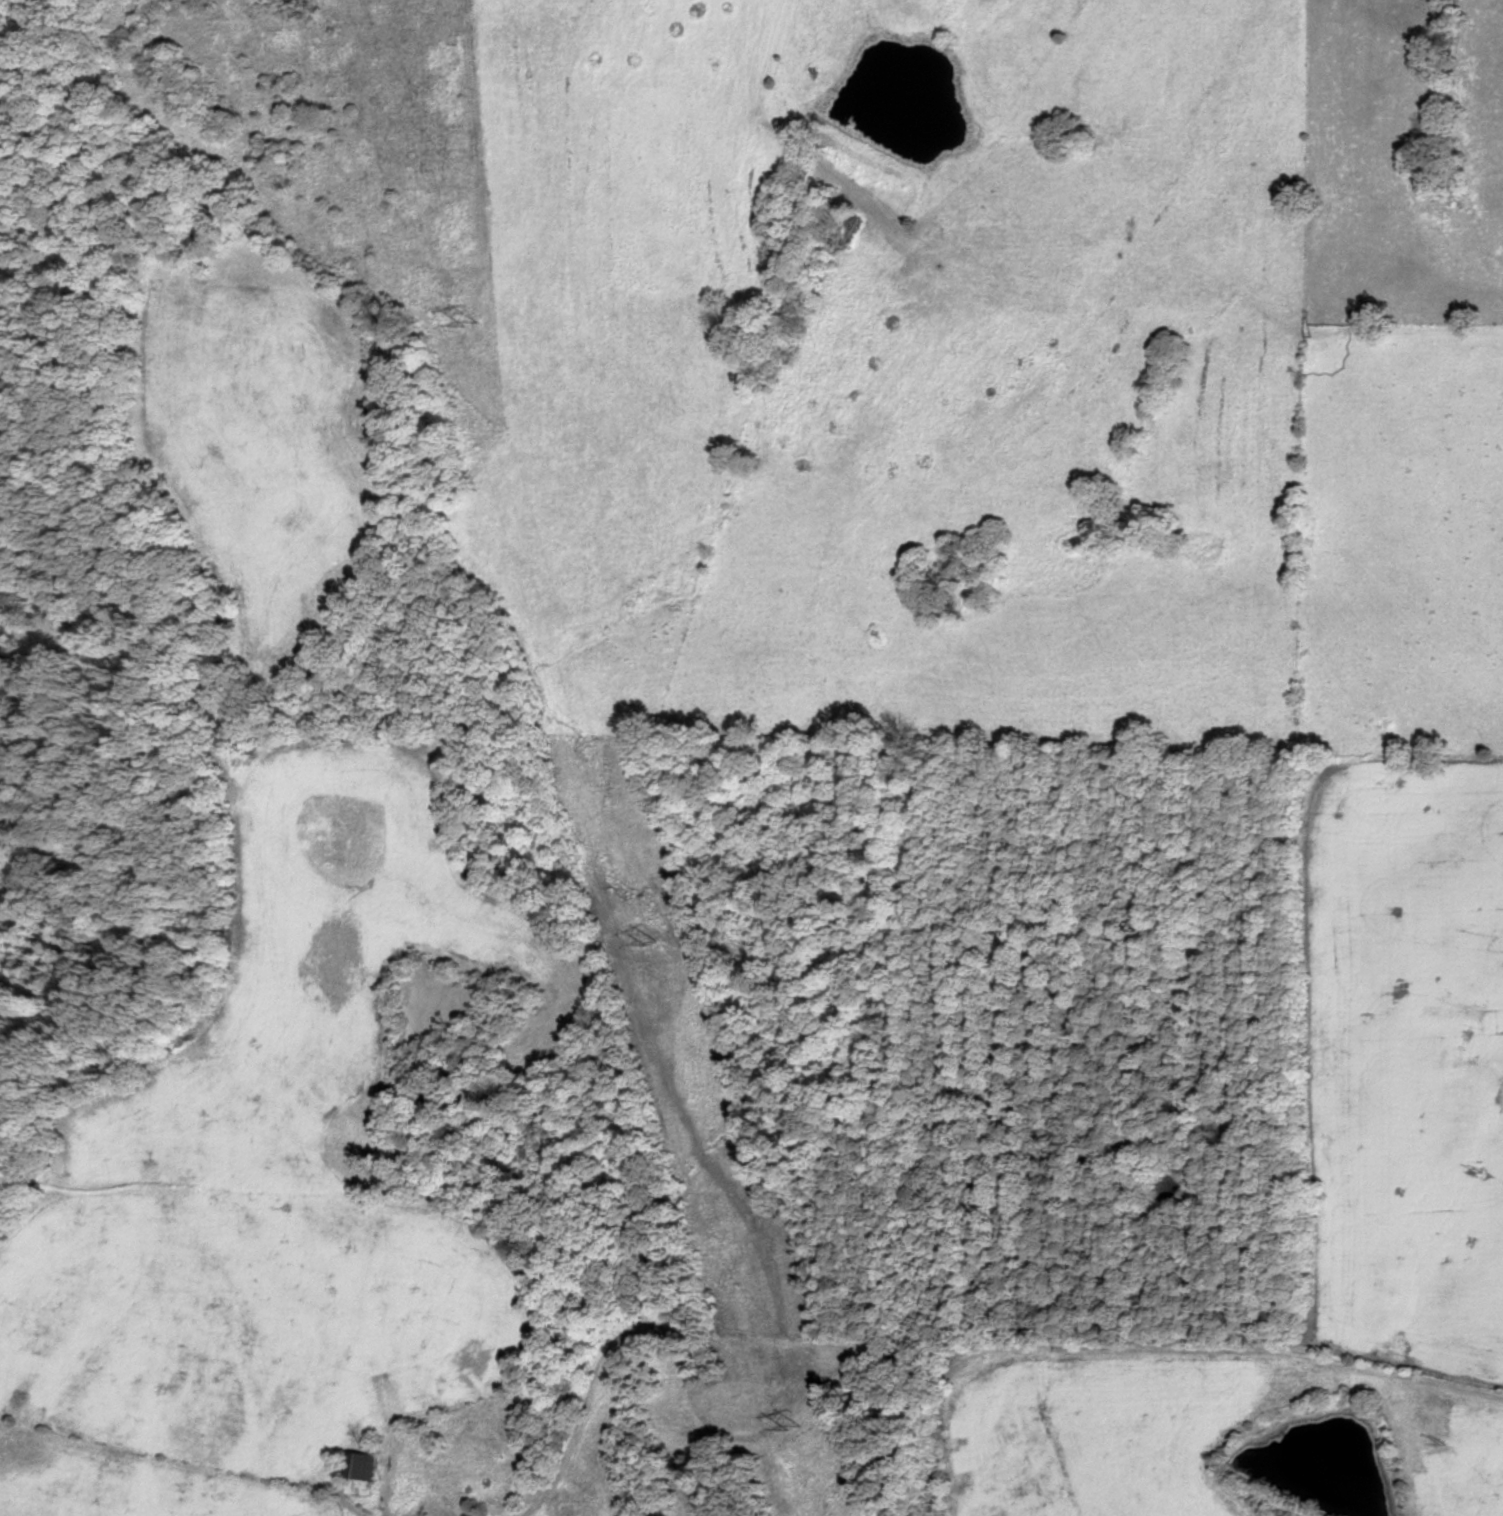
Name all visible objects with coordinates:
power tower: (469, 323)
power tower: (650, 943)
power tower: (793, 1424)
building: (360, 1465)

